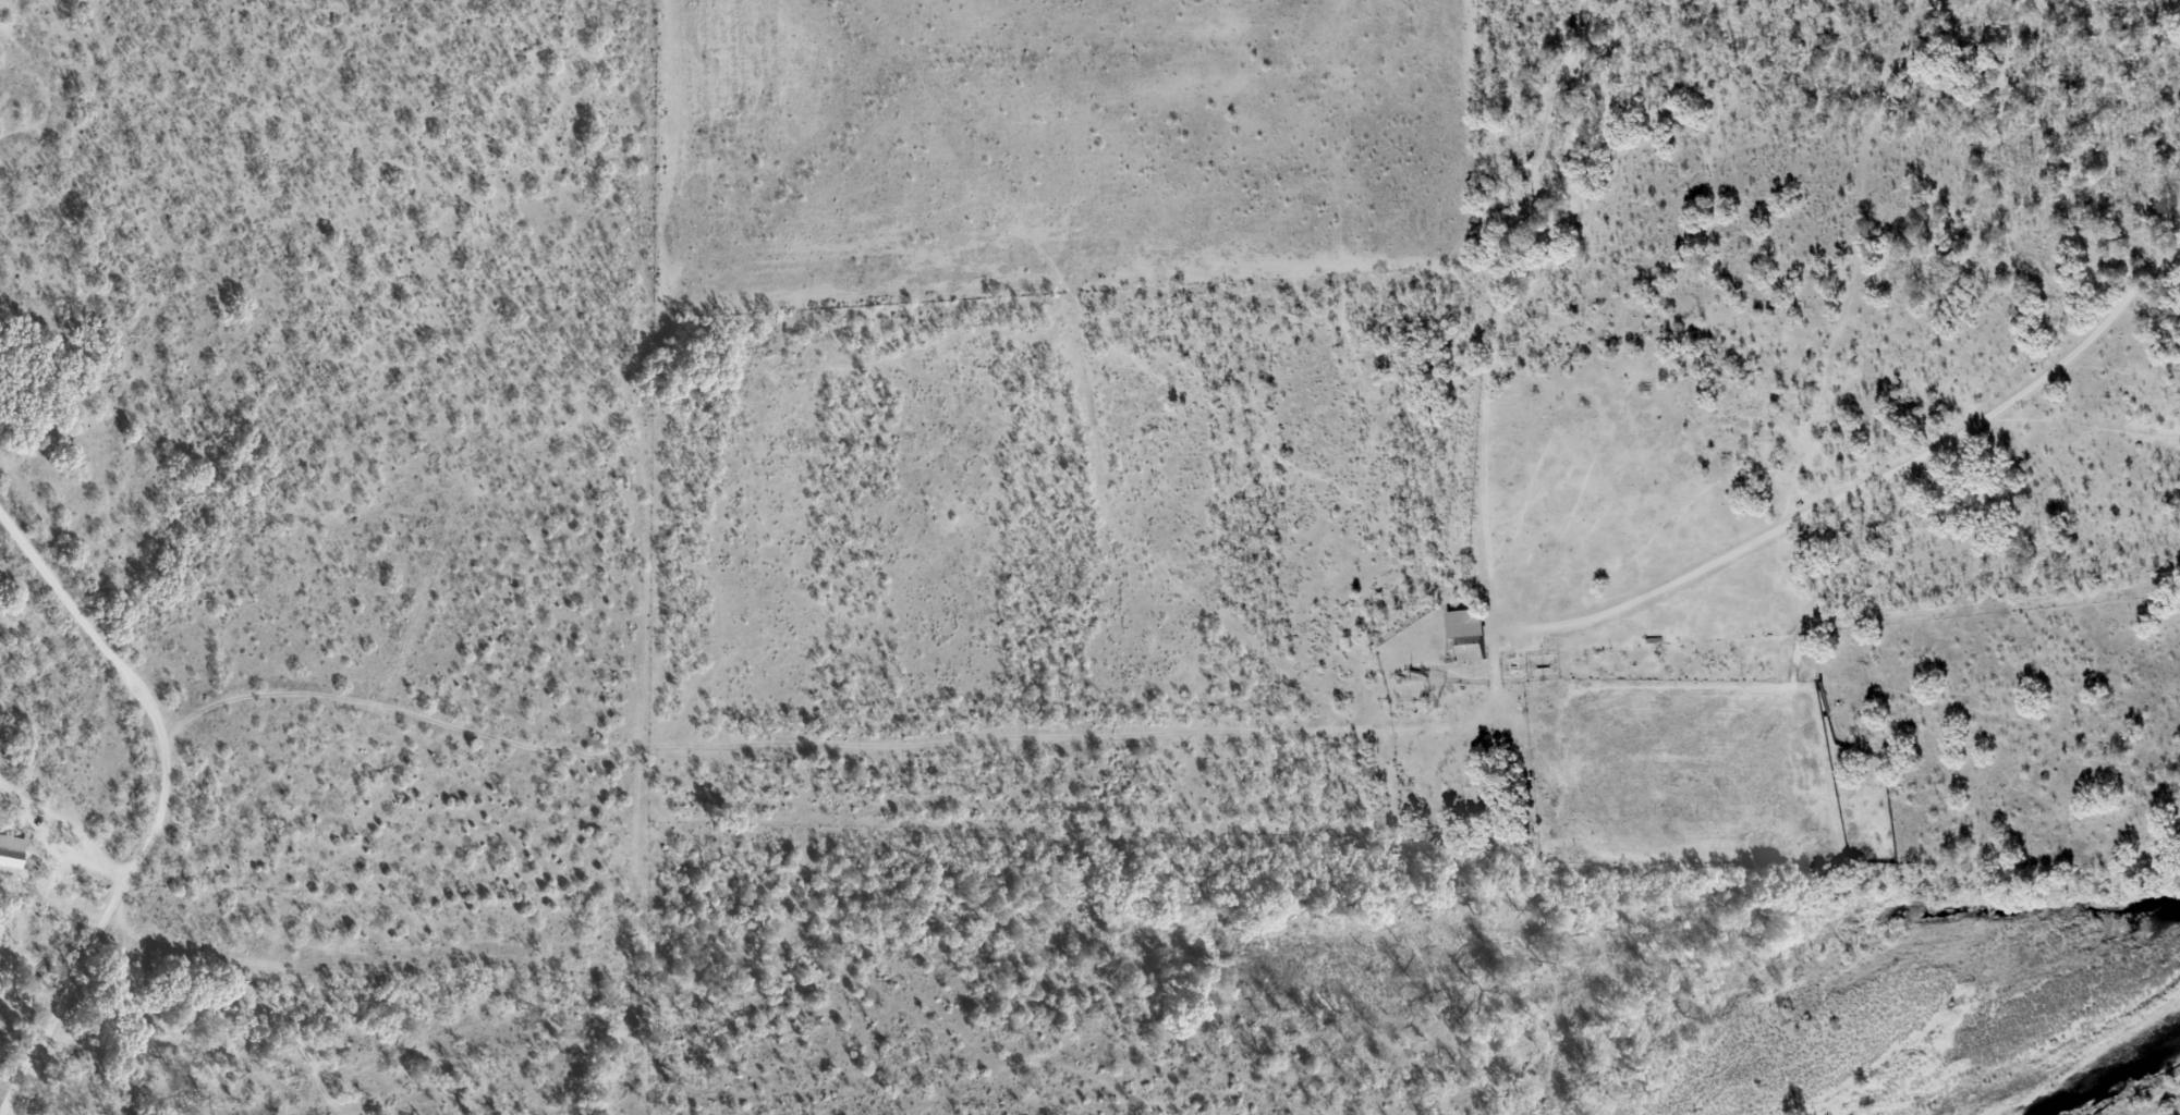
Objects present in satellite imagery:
road: (74, 608)
building: (1465, 634)
building: (13, 855)
road: (106, 916)
road: (39, 943)
river: (2004, 1017)

